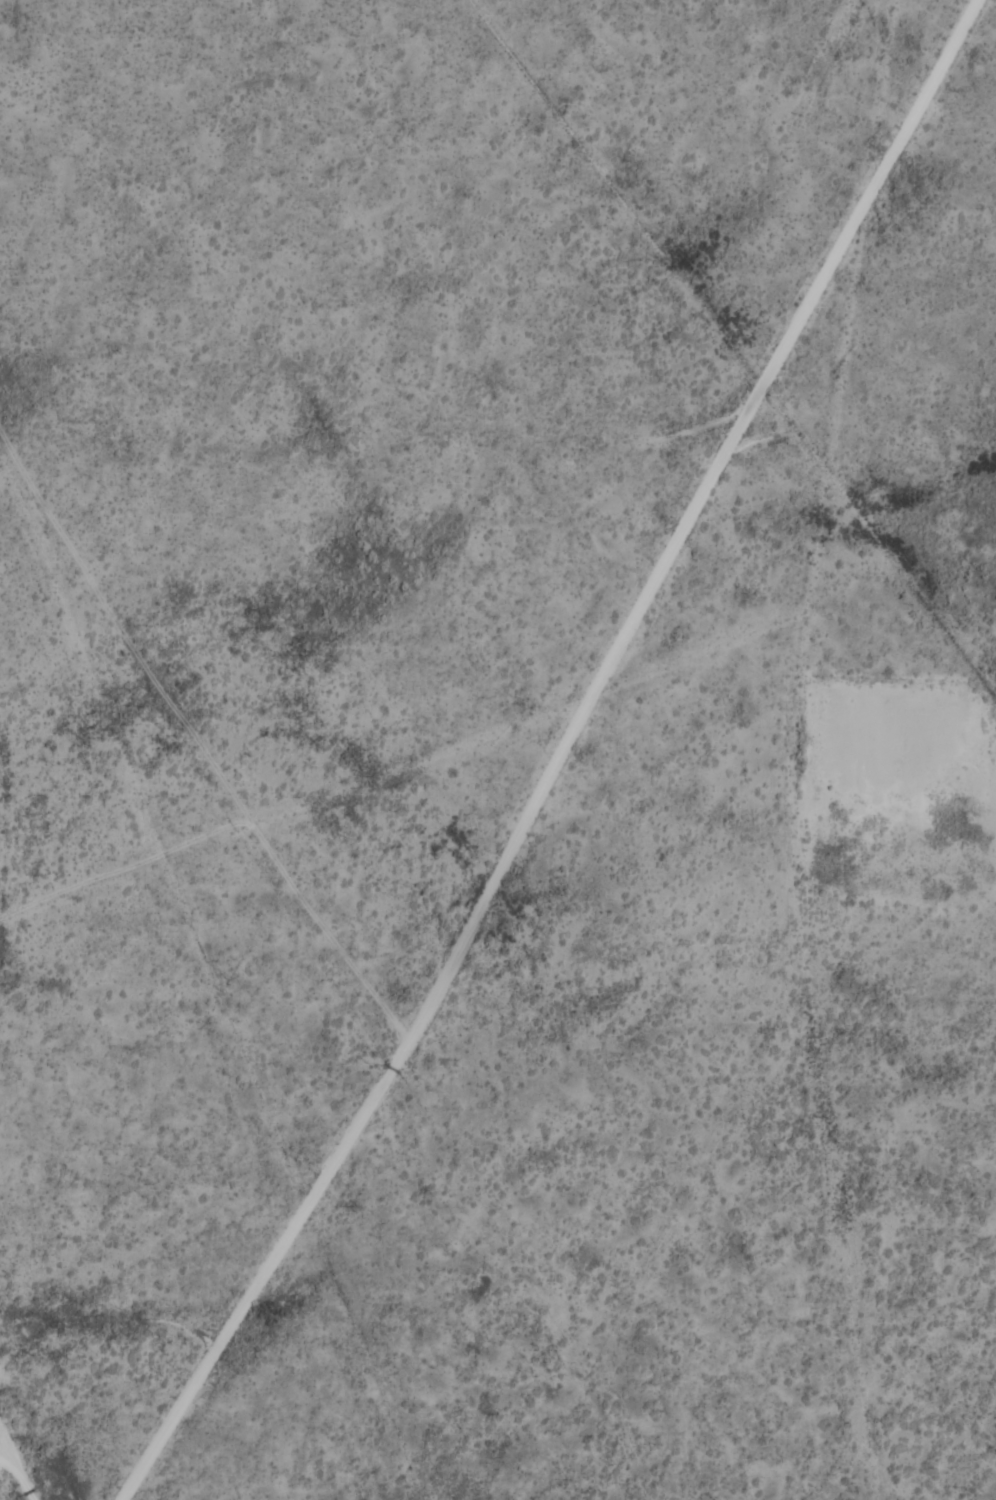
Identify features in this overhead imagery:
road: (199, 742)
road: (559, 756)
road: (928, 858)

